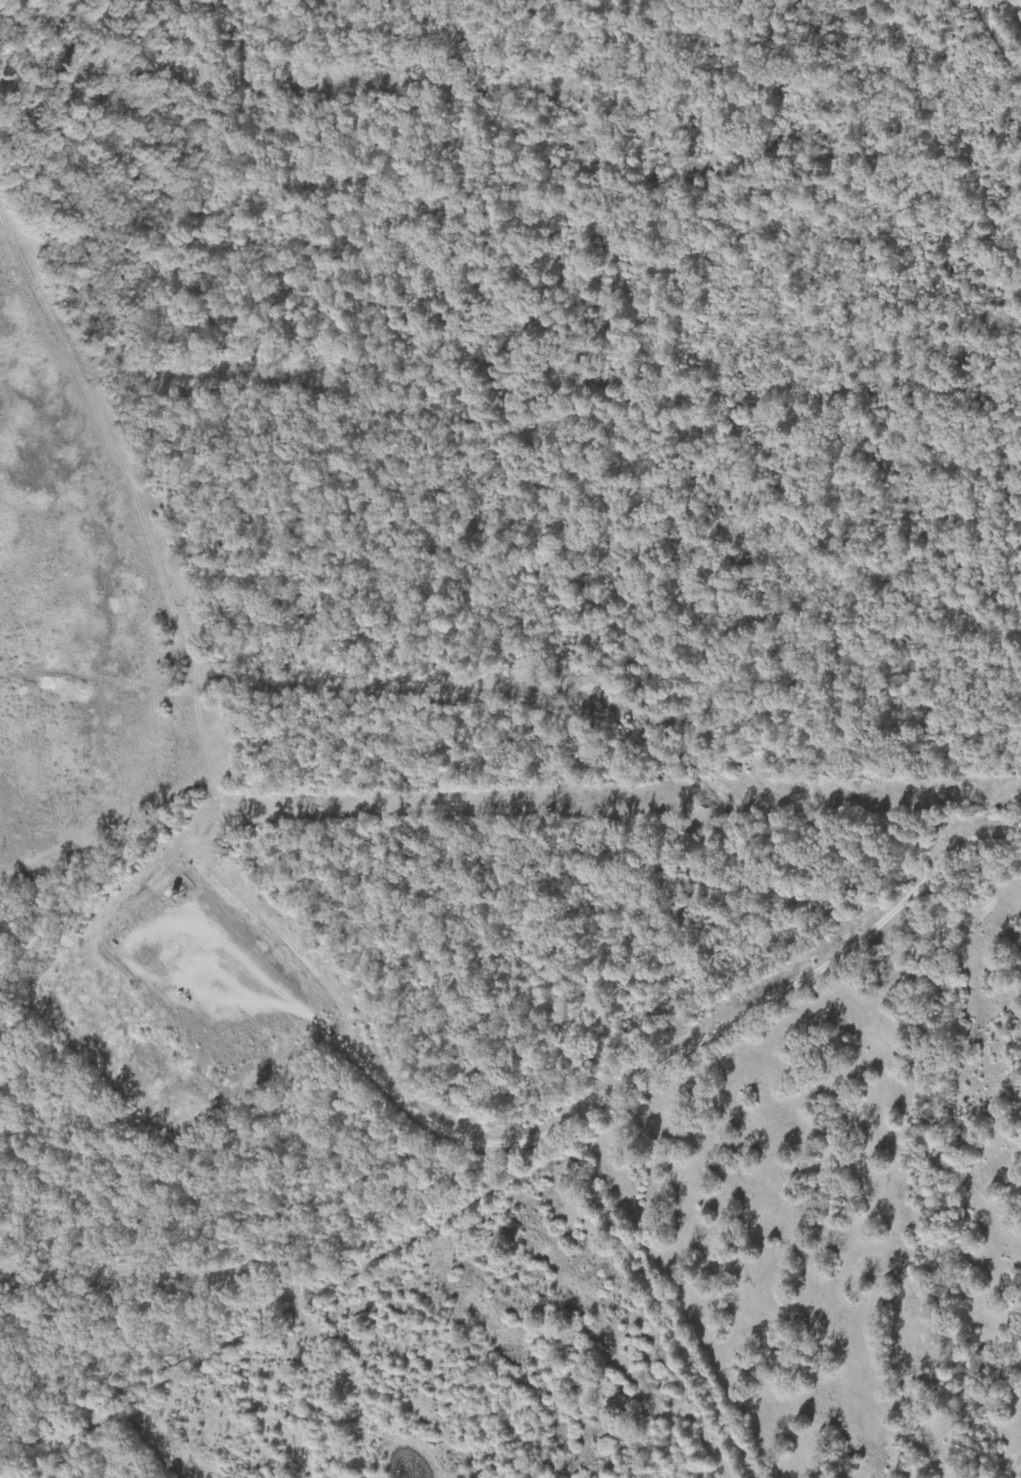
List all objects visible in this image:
road: (998, 36)
road: (521, 1193)

